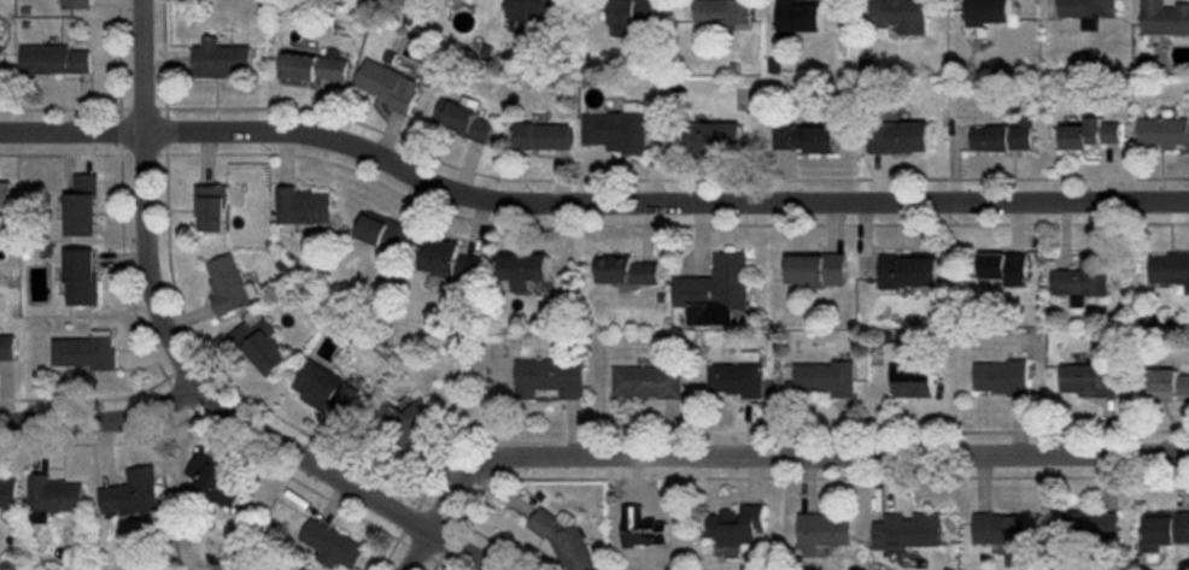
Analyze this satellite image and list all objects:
building: (76, 4)
building: (540, 7)
building: (1088, 11)
building: (724, 12)
building: (988, 12)
building: (632, 14)
building: (901, 14)
building: (799, 17)
building: (1165, 18)
building: (222, 59)
building: (54, 60)
building: (2, 66)
building: (315, 67)
building: (388, 86)
building: (463, 119)
building: (615, 131)
building: (1165, 131)
building: (1090, 134)
building: (543, 136)
building: (715, 136)
building: (1003, 136)
building: (807, 137)
building: (901, 137)
building: (6, 194)
road: (586, 201)
building: (83, 206)
building: (303, 206)
building: (211, 207)
building: (383, 236)
building: (449, 259)
building: (1006, 268)
building: (1170, 268)
building: (816, 269)
building: (526, 270)
building: (626, 270)
building: (909, 270)
building: (81, 277)
building: (1082, 280)
building: (227, 284)
building: (715, 292)
building: (7, 346)
building: (262, 346)
building: (84, 351)
road: (184, 362)
building: (551, 377)
building: (826, 377)
building: (736, 378)
building: (913, 381)
building: (1089, 381)
building: (648, 382)
building: (1167, 383)
building: (326, 390)
road: (102, 418)
building: (411, 419)
road: (766, 451)
building: (215, 480)
building: (133, 492)
building: (52, 496)
building: (1090, 524)
building: (736, 527)
building: (998, 528)
building: (1165, 529)
building: (822, 531)
building: (907, 531)
building: (566, 541)
building: (333, 545)

